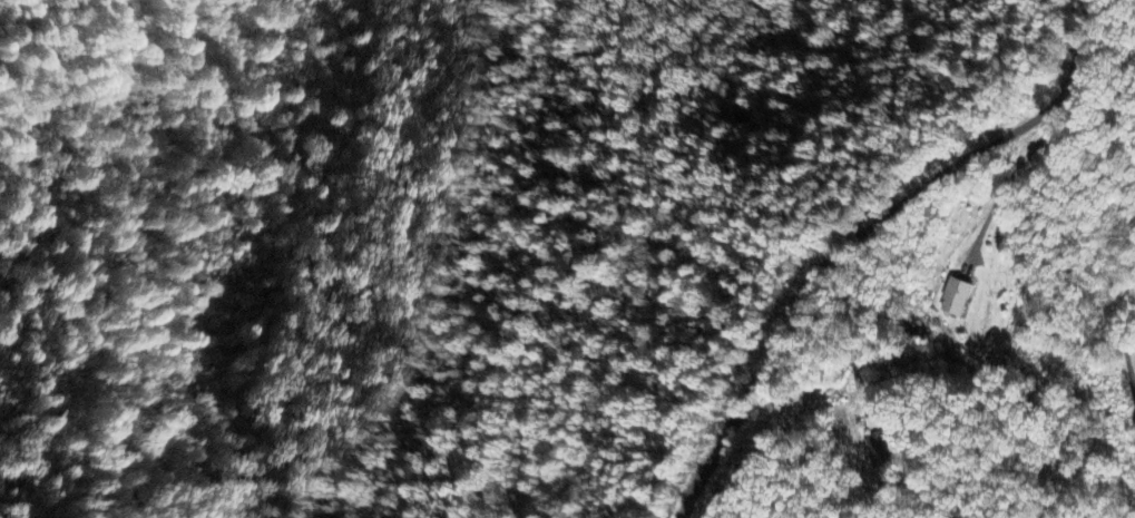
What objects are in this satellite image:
road: (858, 232)
building: (952, 299)
road: (1113, 317)
building: (878, 450)

